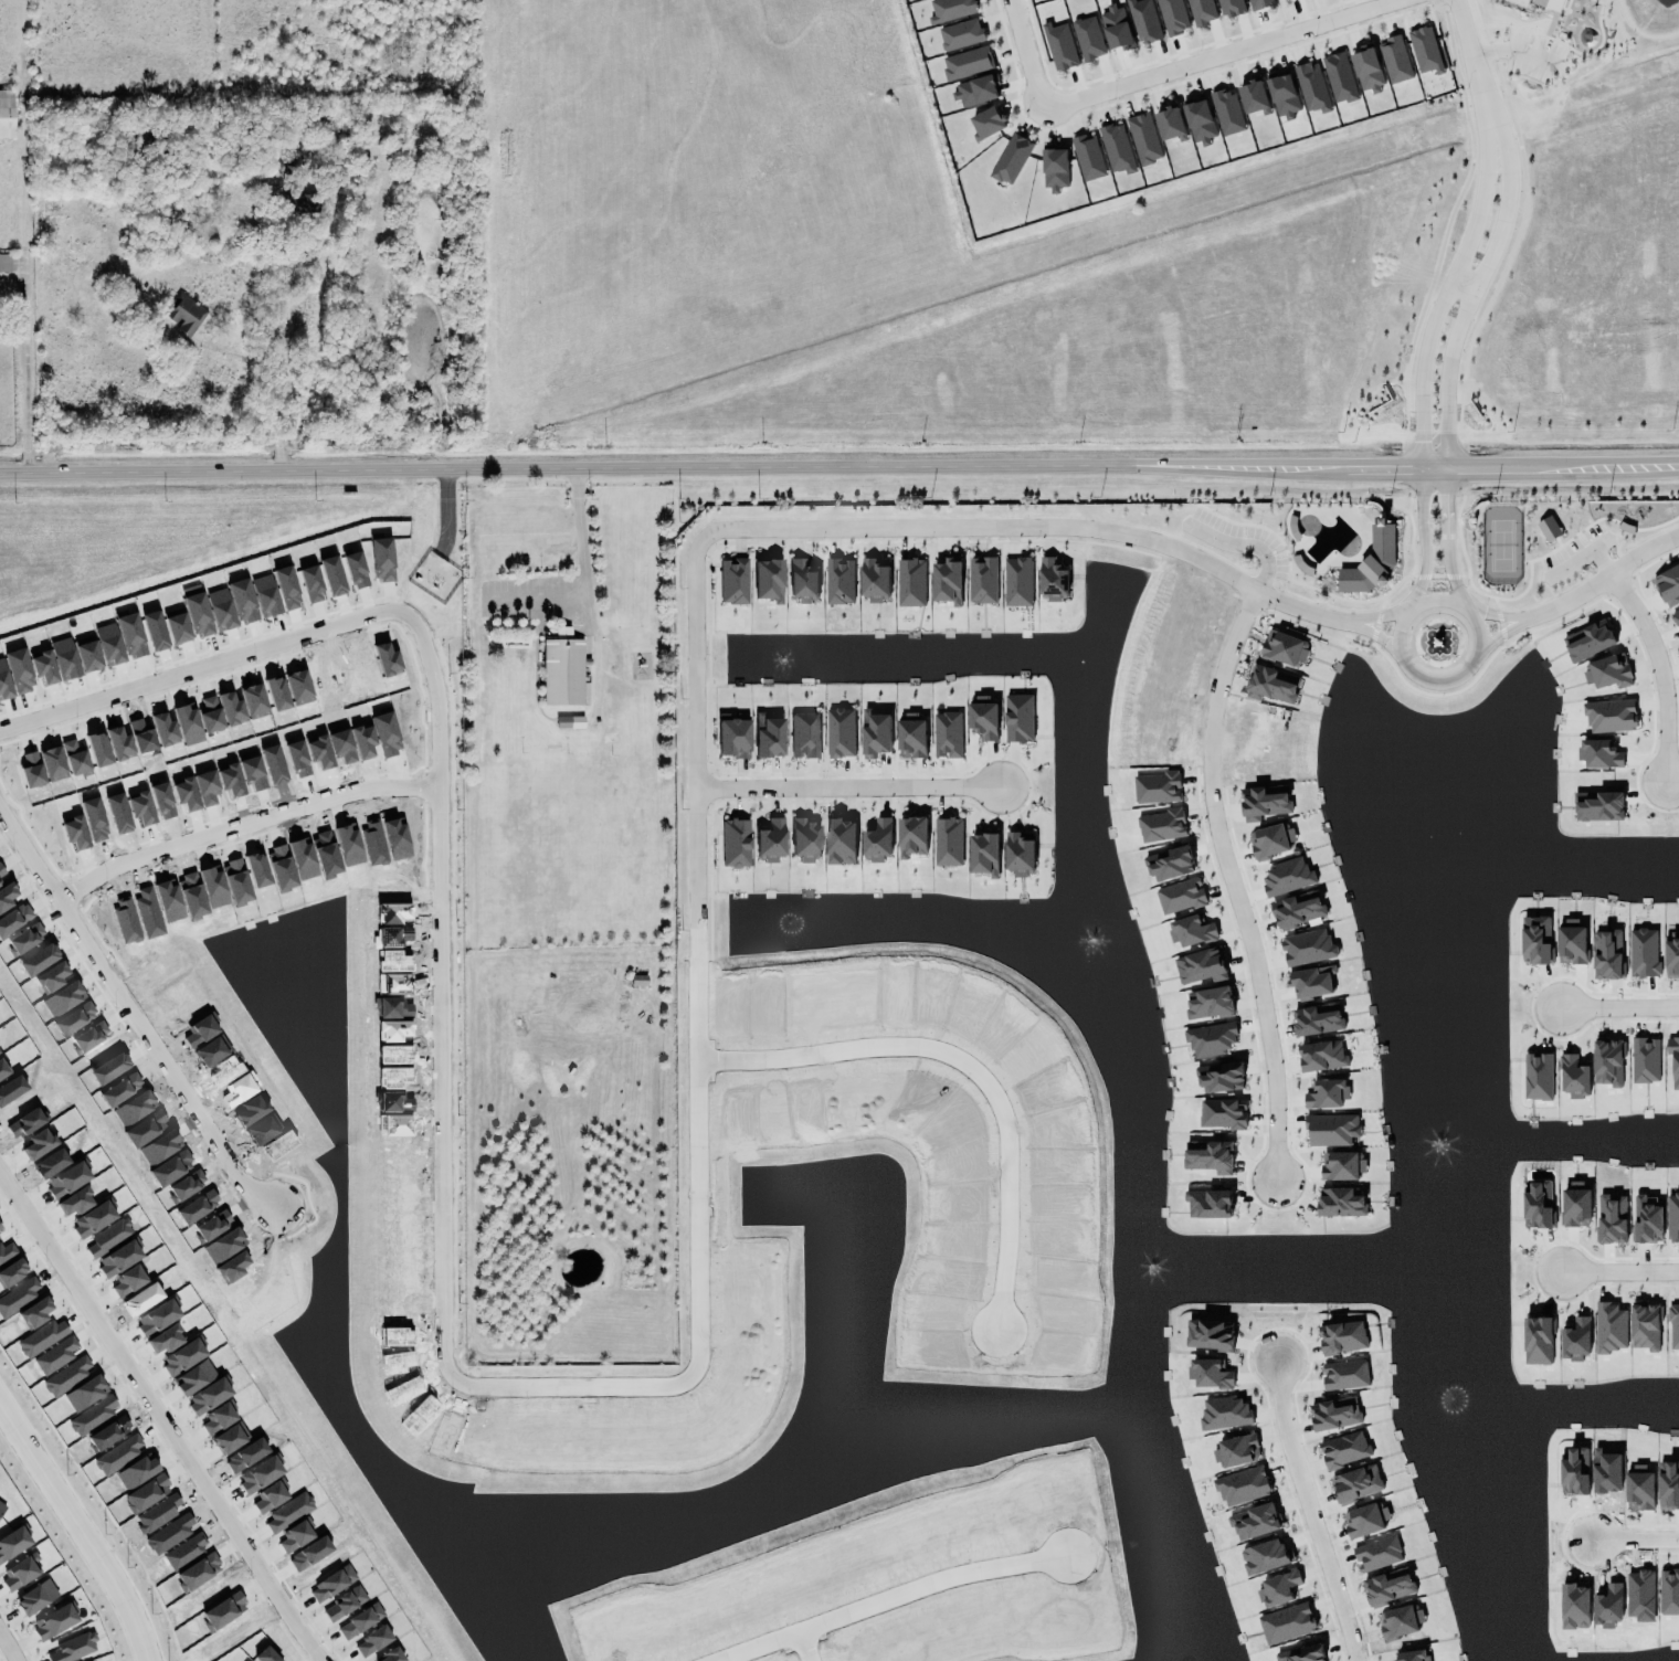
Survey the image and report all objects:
building: (1287, 0)
building: (1259, 3)
building: (1550, 4)
building: (1231, 8)
building: (949, 9)
building: (1202, 11)
building: (1172, 17)
building: (1143, 21)
building: (1116, 28)
building: (960, 34)
building: (1088, 39)
building: (1059, 46)
building: (1425, 51)
building: (1394, 60)
building: (967, 63)
building: (1368, 70)
road: (1170, 73)
building: (1339, 78)
building: (1311, 87)
building: (976, 91)
building: (1284, 97)
building: (1254, 98)
building: (1226, 112)
building: (6, 114)
building: (1170, 119)
building: (989, 123)
building: (1200, 123)
building: (1143, 138)
building: (1117, 149)
building: (1088, 157)
building: (1011, 159)
building: (1055, 169)
road: (1479, 231)
road: (25, 258)
building: (4, 263)
building: (186, 315)
road: (282, 377)
road: (839, 467)
road: (31, 526)
road: (1032, 527)
building: (1549, 528)
road: (1422, 536)
road: (1445, 536)
road: (1590, 550)
road: (575, 553)
building: (1372, 562)
road: (1601, 578)
building: (875, 579)
building: (1053, 579)
building: (769, 580)
building: (982, 580)
building: (733, 581)
building: (803, 581)
building: (839, 581)
building: (948, 581)
building: (1016, 581)
building: (911, 582)
building: (1668, 585)
road: (528, 597)
road: (1444, 601)
road: (1492, 615)
road: (1376, 616)
building: (1676, 617)
road: (1375, 636)
road: (1496, 636)
building: (1588, 641)
building: (1284, 648)
building: (563, 670)
road: (1658, 670)
building: (1608, 673)
building: (1271, 685)
building: (983, 715)
building: (1611, 716)
building: (1018, 718)
building: (570, 722)
building: (841, 732)
building: (875, 733)
building: (910, 733)
building: (948, 734)
building: (733, 736)
building: (804, 736)
building: (769, 737)
building: (1598, 750)
road: (846, 787)
building: (1265, 802)
building: (1599, 805)
road: (245, 824)
building: (1161, 826)
building: (911, 836)
building: (805, 840)
building: (878, 840)
building: (1270, 840)
building: (770, 842)
building: (841, 842)
building: (948, 842)
building: (735, 843)
building: (984, 850)
building: (1017, 853)
building: (1287, 877)
road: (1228, 882)
building: (1181, 896)
road: (442, 901)
building: (1295, 908)
building: (1191, 931)
building: (1535, 940)
building: (1572, 943)
building: (1308, 948)
building: (1644, 952)
building: (1672, 953)
road: (696, 954)
building: (1607, 955)
building: (1201, 966)
building: (1311, 982)
building: (1210, 1003)
road: (1618, 1007)
road: (130, 1009)
building: (1318, 1019)
building: (1211, 1039)
building: (1322, 1056)
building: (1673, 1059)
building: (1645, 1060)
building: (1608, 1062)
road: (962, 1065)
building: (1538, 1077)
building: (1574, 1077)
building: (1219, 1078)
building: (1327, 1093)
building: (1223, 1113)
building: (1330, 1126)
building: (1211, 1153)
building: (1342, 1165)
building: (1208, 1199)
building: (1537, 1200)
building: (1341, 1203)
building: (1574, 1203)
building: (1672, 1215)
building: (1609, 1216)
building: (1648, 1219)
road: (1619, 1271)
building: (1611, 1327)
building: (1646, 1327)
building: (1673, 1327)
building: (1575, 1336)
building: (1342, 1337)
building: (1538, 1341)
building: (1345, 1375)
building: (1335, 1414)
road: (160, 1418)
building: (1344, 1449)
building: (1356, 1483)
building: (2, 1509)
road: (1308, 1510)
building: (1365, 1520)
road: (77, 1533)
road: (1637, 1541)
building: (14, 1543)
building: (1377, 1554)
building: (21, 1572)
building: (1388, 1586)
building: (36, 1594)
road: (885, 1596)
building: (55, 1621)
building: (72, 1646)
road: (801, 1646)
road: (7, 1648)
building: (1302, 1653)
building: (1413, 1655)

